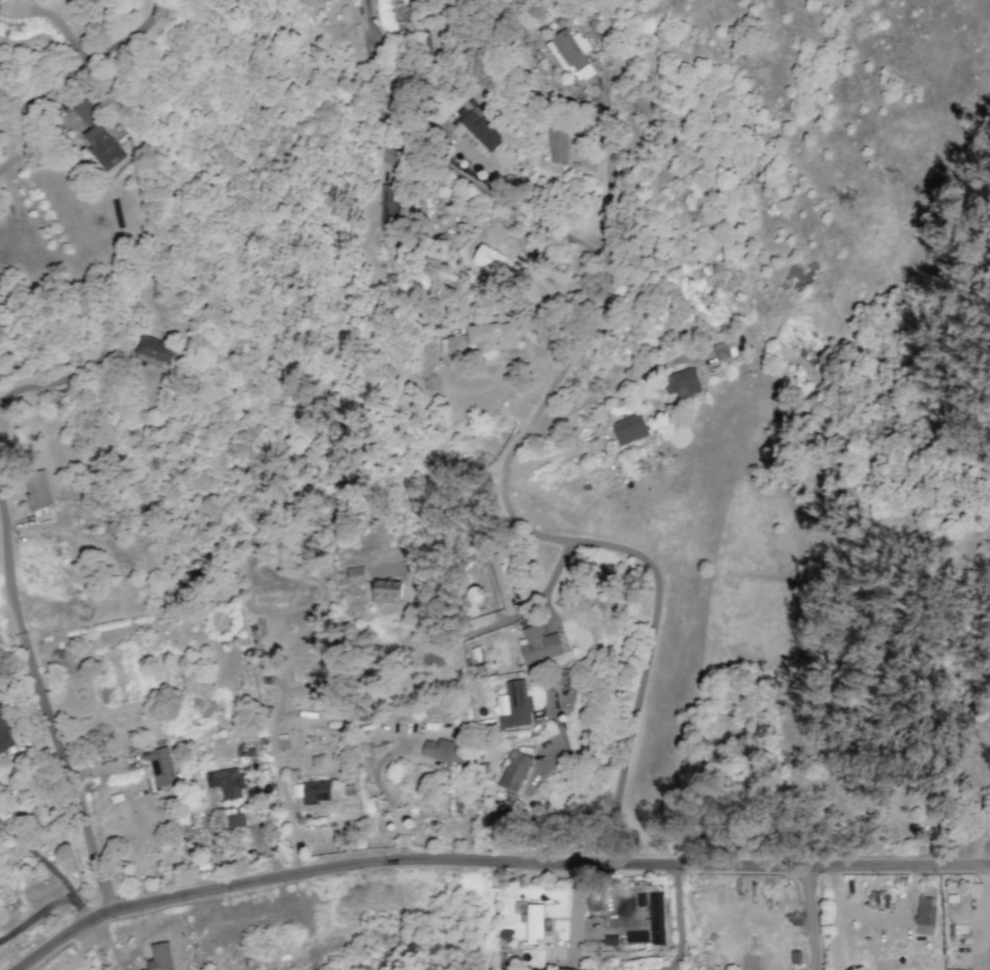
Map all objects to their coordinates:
building: (571, 52)
road: (82, 62)
building: (481, 127)
building: (98, 137)
building: (558, 146)
road: (595, 252)
building: (481, 254)
building: (483, 338)
building: (155, 349)
building: (726, 349)
building: (683, 382)
building: (629, 428)
building: (38, 492)
road: (559, 543)
building: (355, 575)
building: (387, 591)
building: (539, 644)
building: (514, 705)
road: (53, 731)
building: (5, 733)
road: (833, 739)
building: (448, 752)
building: (161, 766)
building: (515, 771)
building: (226, 782)
building: (311, 791)
building: (236, 819)
road: (39, 860)
road: (494, 865)
building: (883, 900)
road: (47, 907)
building: (521, 910)
building: (925, 914)
building: (654, 915)
road: (808, 918)
building: (535, 923)
road: (678, 927)
building: (160, 957)
building: (796, 957)

